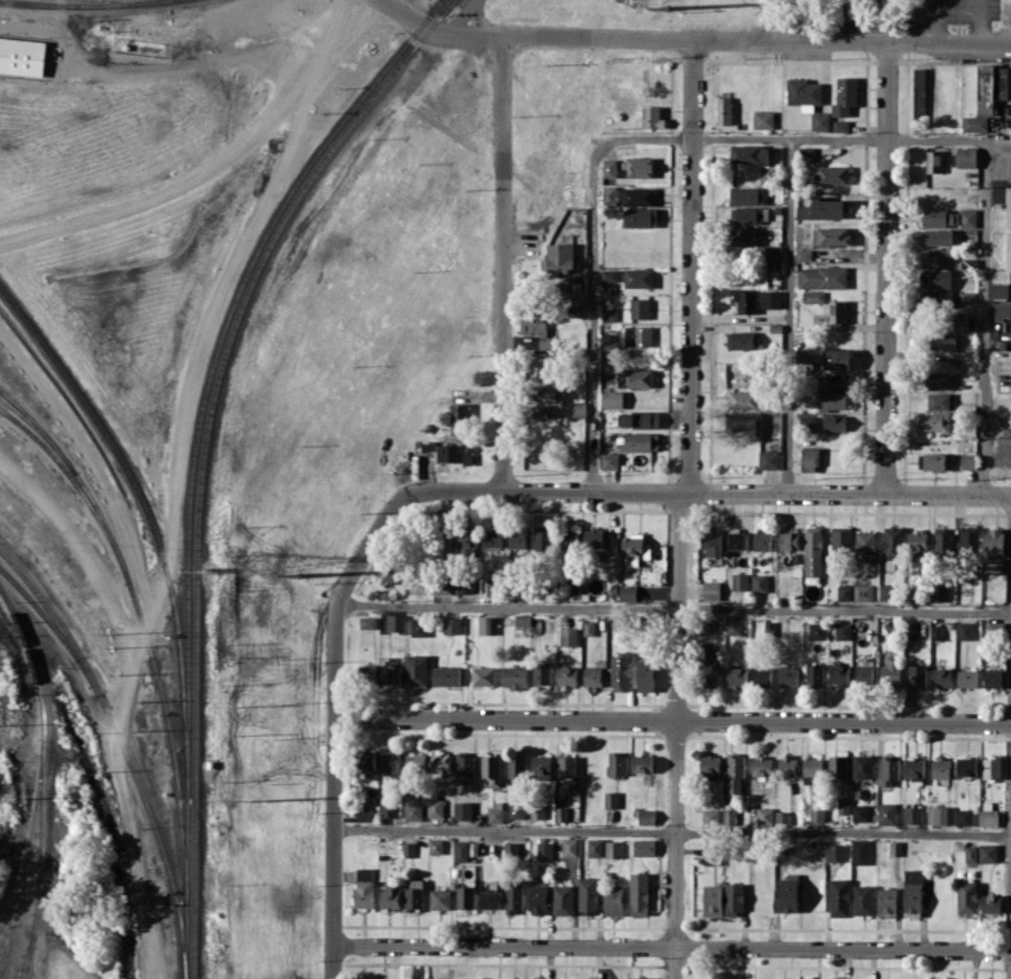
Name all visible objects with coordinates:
power tower: (666, 6)
railway: (91, 7)
road: (460, 17)
road: (481, 19)
road: (934, 23)
road: (981, 23)
road: (447, 35)
road: (763, 43)
building: (22, 56)
road: (213, 60)
building: (991, 86)
building: (919, 93)
building: (844, 96)
building: (724, 110)
building: (652, 117)
building: (763, 119)
building: (820, 121)
building: (974, 123)
building: (840, 125)
road: (793, 137)
road: (998, 152)
building: (749, 153)
building: (805, 153)
building: (966, 157)
building: (933, 161)
road: (215, 164)
building: (609, 167)
building: (637, 167)
building: (833, 174)
building: (635, 195)
building: (746, 195)
building: (823, 209)
building: (749, 214)
building: (639, 217)
building: (941, 217)
building: (968, 217)
building: (1009, 230)
building: (832, 235)
building: (746, 236)
building: (936, 236)
building: (774, 253)
building: (803, 254)
building: (558, 258)
building: (934, 258)
road: (509, 265)
road: (691, 266)
road: (885, 269)
building: (609, 275)
building: (638, 277)
building: (822, 277)
building: (937, 278)
road: (220, 289)
building: (1000, 290)
building: (813, 296)
building: (966, 296)
building: (935, 298)
building: (771, 299)
building: (745, 301)
building: (640, 308)
building: (1002, 310)
building: (835, 311)
road: (592, 313)
building: (609, 314)
road: (785, 314)
road: (984, 317)
building: (960, 321)
building: (539, 332)
building: (638, 336)
building: (742, 340)
building: (609, 341)
building: (943, 341)
building: (837, 359)
building: (803, 360)
building: (635, 378)
building: (838, 381)
building: (938, 381)
building: (545, 395)
building: (612, 399)
building: (746, 399)
building: (832, 400)
building: (938, 401)
building: (577, 409)
building: (459, 418)
building: (639, 419)
building: (934, 421)
building: (835, 422)
building: (804, 423)
building: (747, 424)
railway: (40, 430)
building: (641, 441)
railway: (192, 453)
railway: (203, 453)
building: (453, 453)
building: (768, 459)
building: (805, 459)
building: (609, 460)
building: (932, 461)
building: (968, 461)
railway: (78, 476)
road: (100, 477)
railway: (77, 485)
road: (757, 491)
railway: (150, 522)
building: (969, 537)
building: (492, 538)
building: (517, 538)
building: (543, 538)
building: (593, 538)
building: (737, 539)
building: (788, 539)
building: (569, 540)
building: (841, 540)
building: (917, 540)
building: (762, 541)
building: (942, 541)
building: (467, 542)
building: (712, 543)
building: (893, 545)
building: (865, 546)
building: (635, 549)
building: (994, 549)
building: (813, 551)
power tower: (257, 565)
building: (389, 569)
power tower: (297, 573)
building: (740, 581)
building: (419, 582)
building: (760, 582)
building: (464, 584)
building: (572, 585)
building: (491, 586)
building: (711, 590)
building: (887, 591)
building: (628, 592)
building: (844, 592)
building: (863, 592)
building: (937, 592)
road: (673, 604)
railway: (51, 614)
building: (522, 619)
building: (367, 622)
building: (607, 622)
building: (395, 623)
building: (452, 625)
building: (486, 625)
building: (708, 625)
building: (733, 626)
building: (419, 627)
building: (761, 627)
building: (588, 628)
building: (995, 628)
building: (816, 630)
building: (843, 630)
building: (909, 630)
building: (964, 630)
building: (935, 632)
building: (568, 636)
building: (416, 670)
building: (709, 670)
building: (366, 672)
building: (864, 672)
building: (890, 672)
building: (620, 673)
building: (814, 673)
building: (542, 674)
building: (645, 674)
building: (838, 674)
building: (390, 675)
building: (445, 675)
building: (567, 675)
building: (917, 675)
road: (336, 676)
building: (483, 676)
building: (514, 676)
building: (592, 676)
building: (737, 676)
building: (762, 676)
building: (788, 676)
building: (941, 677)
building: (967, 678)
building: (992, 678)
road: (124, 700)
road: (674, 719)
road: (674, 734)
road: (1010, 737)
railway: (171, 740)
railway: (125, 758)
building: (368, 761)
building: (390, 762)
building: (415, 762)
building: (440, 762)
building: (465, 763)
building: (616, 763)
building: (642, 763)
building: (516, 766)
building: (566, 766)
building: (787, 766)
building: (837, 766)
building: (862, 766)
building: (966, 766)
building: (541, 767)
building: (709, 767)
building: (761, 767)
building: (940, 767)
building: (991, 767)
building: (491, 768)
building: (914, 768)
building: (889, 769)
building: (812, 770)
building: (735, 772)
railway: (42, 779)
building: (611, 800)
building: (435, 806)
building: (843, 806)
building: (388, 809)
building: (462, 810)
building: (517, 810)
building: (537, 810)
building: (413, 811)
building: (860, 812)
building: (886, 813)
building: (363, 814)
building: (494, 814)
building: (560, 814)
building: (816, 814)
building: (912, 814)
building: (709, 815)
building: (940, 815)
building: (646, 816)
building: (729, 816)
building: (764, 817)
building: (782, 817)
building: (963, 817)
building: (989, 817)
road: (673, 831)
railway: (30, 834)
building: (435, 846)
building: (569, 846)
building: (595, 847)
building: (643, 847)
building: (510, 848)
building: (895, 848)
building: (408, 849)
building: (613, 849)
building: (465, 850)
building: (544, 850)
building: (860, 851)
building: (715, 852)
building: (835, 852)
building: (987, 852)
building: (971, 853)
building: (365, 873)
building: (639, 893)
building: (364, 894)
building: (414, 894)
building: (787, 894)
building: (513, 895)
building: (588, 895)
building: (390, 896)
building: (465, 897)
building: (839, 897)
building: (966, 897)
building: (733, 898)
building: (440, 899)
building: (489, 899)
building: (538, 899)
building: (563, 899)
building: (863, 899)
building: (713, 900)
building: (613, 901)
building: (887, 902)
building: (990, 903)
railway: (28, 946)
road: (673, 947)
building: (538, 978)
building: (639, 978)
building: (829, 978)

